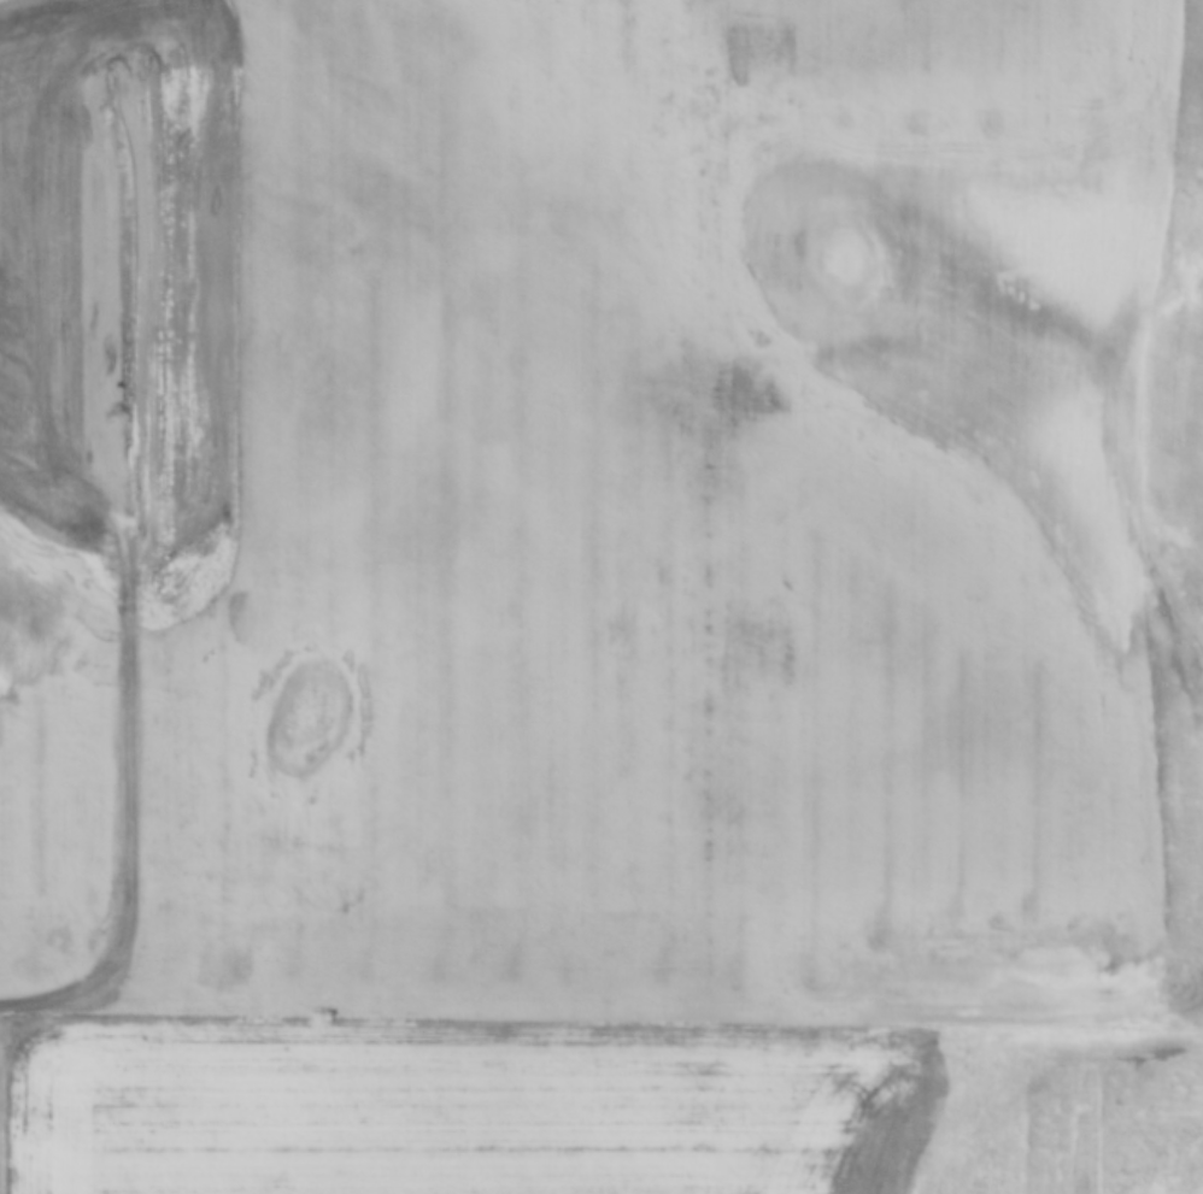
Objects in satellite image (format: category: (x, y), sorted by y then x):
building: (1168, 614)

